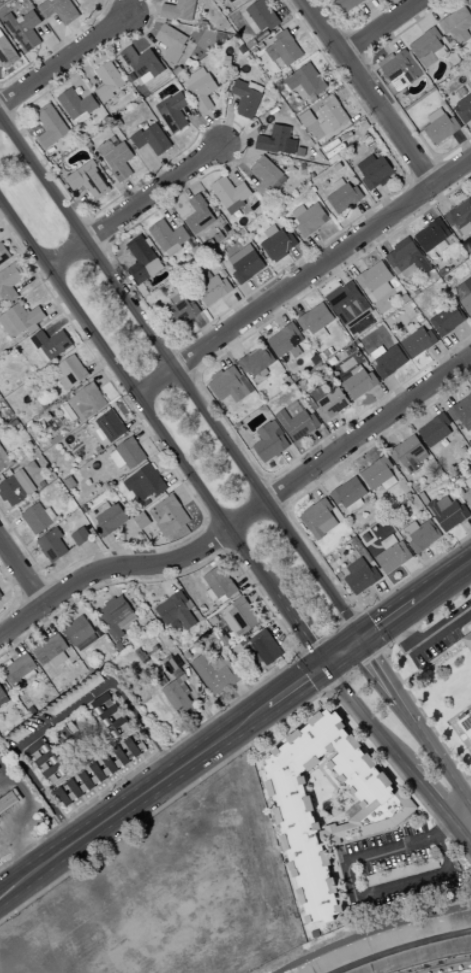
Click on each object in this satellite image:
building: (51, 0)
building: (233, 1)
building: (470, 3)
building: (347, 5)
road: (120, 6)
road: (129, 6)
road: (392, 7)
road: (289, 8)
road: (436, 9)
building: (59, 10)
road: (146, 10)
building: (179, 10)
road: (373, 13)
building: (263, 16)
road: (419, 17)
building: (10, 20)
building: (20, 20)
building: (457, 22)
road: (304, 25)
road: (354, 25)
road: (381, 27)
building: (254, 28)
road: (346, 28)
building: (28, 31)
road: (145, 32)
road: (63, 33)
road: (117, 36)
building: (463, 38)
road: (390, 39)
road: (332, 40)
road: (52, 41)
building: (172, 42)
road: (57, 45)
road: (356, 45)
building: (261, 46)
building: (427, 47)
building: (287, 48)
building: (256, 50)
building: (441, 52)
building: (7, 53)
building: (272, 54)
road: (64, 58)
road: (368, 59)
building: (143, 62)
road: (352, 67)
road: (86, 70)
building: (400, 70)
road: (337, 72)
building: (195, 76)
road: (74, 77)
building: (147, 78)
building: (310, 80)
building: (109, 81)
building: (292, 82)
road: (384, 85)
building: (255, 87)
building: (392, 89)
building: (203, 92)
road: (368, 92)
building: (462, 92)
building: (246, 99)
building: (77, 103)
road: (7, 104)
building: (465, 109)
building: (174, 111)
road: (363, 111)
building: (334, 113)
road: (17, 115)
building: (82, 118)
building: (50, 119)
road: (7, 120)
road: (229, 120)
building: (322, 122)
road: (217, 126)
building: (441, 126)
road: (200, 128)
building: (313, 129)
road: (28, 131)
building: (61, 134)
building: (151, 137)
building: (47, 139)
building: (274, 139)
road: (237, 140)
building: (114, 141)
road: (463, 143)
building: (291, 146)
building: (105, 148)
building: (326, 148)
road: (437, 158)
road: (47, 159)
building: (120, 161)
road: (239, 162)
building: (366, 162)
road: (155, 164)
road: (228, 164)
building: (87, 167)
road: (423, 170)
building: (376, 172)
road: (445, 172)
building: (266, 175)
road: (408, 179)
building: (89, 182)
building: (280, 182)
building: (339, 183)
road: (185, 185)
road: (132, 191)
building: (230, 191)
road: (420, 193)
building: (344, 197)
road: (440, 197)
road: (384, 200)
road: (76, 202)
road: (134, 206)
building: (235, 207)
road: (424, 208)
road: (165, 209)
building: (264, 209)
building: (299, 210)
road: (3, 211)
road: (368, 213)
building: (199, 215)
building: (461, 216)
road: (87, 217)
building: (312, 219)
road: (141, 221)
road: (7, 229)
building: (271, 230)
road: (97, 233)
building: (169, 234)
building: (432, 235)
building: (219, 237)
road: (380, 239)
road: (58, 240)
building: (278, 244)
road: (109, 247)
road: (319, 248)
building: (174, 249)
building: (197, 251)
building: (4, 254)
building: (241, 254)
building: (281, 256)
building: (404, 256)
road: (301, 259)
building: (143, 260)
road: (351, 260)
road: (117, 262)
building: (247, 266)
road: (77, 267)
building: (409, 270)
road: (336, 271)
building: (207, 276)
road: (303, 276)
building: (374, 277)
road: (32, 280)
building: (10, 282)
building: (382, 289)
building: (214, 290)
building: (0, 291)
building: (367, 291)
road: (255, 294)
building: (464, 294)
building: (176, 295)
building: (190, 298)
road: (292, 302)
building: (347, 302)
road: (55, 303)
road: (237, 306)
building: (181, 312)
road: (277, 312)
building: (316, 318)
building: (20, 319)
building: (376, 319)
building: (448, 319)
road: (62, 322)
building: (411, 328)
building: (33, 329)
road: (205, 329)
building: (316, 334)
building: (286, 341)
building: (419, 341)
building: (51, 343)
road: (176, 344)
road: (233, 344)
road: (456, 346)
road: (223, 352)
building: (377, 352)
building: (326, 353)
building: (43, 355)
road: (443, 356)
building: (287, 358)
road: (185, 360)
building: (257, 360)
building: (390, 361)
road: (98, 363)
road: (467, 363)
road: (146, 367)
building: (356, 369)
building: (73, 370)
road: (180, 375)
road: (198, 375)
road: (107, 376)
building: (295, 377)
building: (360, 383)
building: (65, 384)
building: (229, 384)
building: (304, 384)
road: (397, 388)
road: (205, 390)
building: (319, 393)
road: (442, 393)
road: (165, 395)
road: (137, 397)
road: (383, 399)
building: (90, 400)
road: (428, 402)
building: (332, 404)
building: (76, 406)
building: (461, 410)
building: (295, 411)
building: (68, 413)
road: (137, 418)
building: (1, 421)
building: (298, 423)
building: (111, 425)
building: (468, 425)
building: (435, 430)
road: (146, 431)
road: (339, 431)
road: (385, 433)
building: (286, 437)
building: (56, 438)
building: (251, 439)
building: (270, 441)
road: (325, 441)
road: (369, 445)
building: (131, 452)
building: (408, 453)
building: (422, 457)
building: (4, 459)
building: (117, 459)
road: (293, 462)
building: (33, 467)
building: (9, 472)
road: (175, 473)
building: (377, 473)
road: (325, 475)
road: (177, 476)
building: (25, 481)
building: (468, 482)
building: (69, 483)
building: (145, 483)
building: (390, 483)
building: (404, 483)
building: (43, 484)
road: (311, 486)
building: (12, 490)
road: (187, 491)
building: (349, 492)
road: (277, 493)
building: (431, 493)
building: (466, 495)
building: (424, 498)
road: (238, 501)
building: (355, 505)
building: (101, 509)
building: (448, 513)
building: (52, 514)
building: (169, 516)
road: (244, 516)
building: (37, 518)
building: (319, 518)
building: (111, 519)
building: (142, 520)
road: (206, 521)
road: (297, 522)
road: (468, 522)
road: (11, 526)
building: (390, 527)
building: (412, 527)
road: (257, 528)
road: (218, 535)
building: (80, 536)
building: (424, 536)
building: (348, 538)
building: (355, 540)
building: (388, 541)
road: (157, 543)
building: (401, 543)
road: (75, 544)
building: (52, 545)
road: (120, 547)
road: (227, 551)
road: (95, 553)
road: (38, 555)
building: (393, 557)
road: (432, 565)
road: (22, 571)
building: (361, 576)
road: (418, 576)
road: (49, 577)
road: (247, 577)
road: (164, 578)
road: (443, 580)
road: (13, 583)
road: (108, 583)
building: (220, 583)
road: (35, 589)
road: (258, 592)
road: (16, 593)
road: (59, 593)
building: (1, 595)
building: (212, 595)
road: (387, 597)
road: (19, 599)
road: (70, 603)
road: (361, 610)
building: (176, 611)
road: (31, 612)
building: (243, 615)
building: (114, 616)
road: (388, 620)
road: (46, 621)
building: (126, 621)
building: (176, 624)
road: (281, 625)
road: (300, 629)
building: (78, 630)
road: (370, 631)
road: (330, 633)
road: (427, 638)
traffic signals: (360, 639)
road: (15, 641)
building: (467, 641)
building: (245, 642)
building: (120, 646)
building: (266, 646)
road: (296, 647)
road: (450, 647)
building: (50, 649)
road: (342, 651)
road: (385, 651)
building: (254, 655)
building: (59, 659)
building: (6, 664)
traffic signals: (325, 664)
building: (171, 665)
building: (19, 669)
road: (313, 669)
road: (355, 669)
building: (216, 672)
building: (30, 675)
road: (398, 675)
road: (296, 684)
road: (327, 691)
road: (112, 693)
building: (75, 695)
building: (3, 697)
road: (247, 698)
building: (180, 701)
road: (119, 704)
road: (202, 704)
building: (0, 706)
building: (470, 711)
road: (460, 713)
road: (64, 716)
building: (110, 716)
road: (129, 717)
road: (412, 723)
road: (136, 724)
road: (96, 725)
building: (466, 729)
road: (455, 730)
road: (461, 734)
building: (19, 735)
road: (253, 741)
road: (62, 749)
road: (397, 754)
road: (27, 756)
road: (93, 757)
road: (143, 759)
building: (46, 760)
road: (35, 767)
road: (132, 768)
building: (100, 769)
road: (120, 776)
road: (111, 783)
road: (48, 784)
road: (109, 784)
road: (45, 785)
road: (151, 787)
road: (97, 792)
road: (467, 792)
road: (55, 796)
road: (59, 799)
road: (86, 800)
building: (10, 801)
road: (60, 804)
road: (74, 809)
building: (377, 818)
road: (452, 821)
road: (24, 853)
building: (401, 872)
road: (17, 874)
road: (22, 892)
road: (363, 894)
road: (437, 963)

